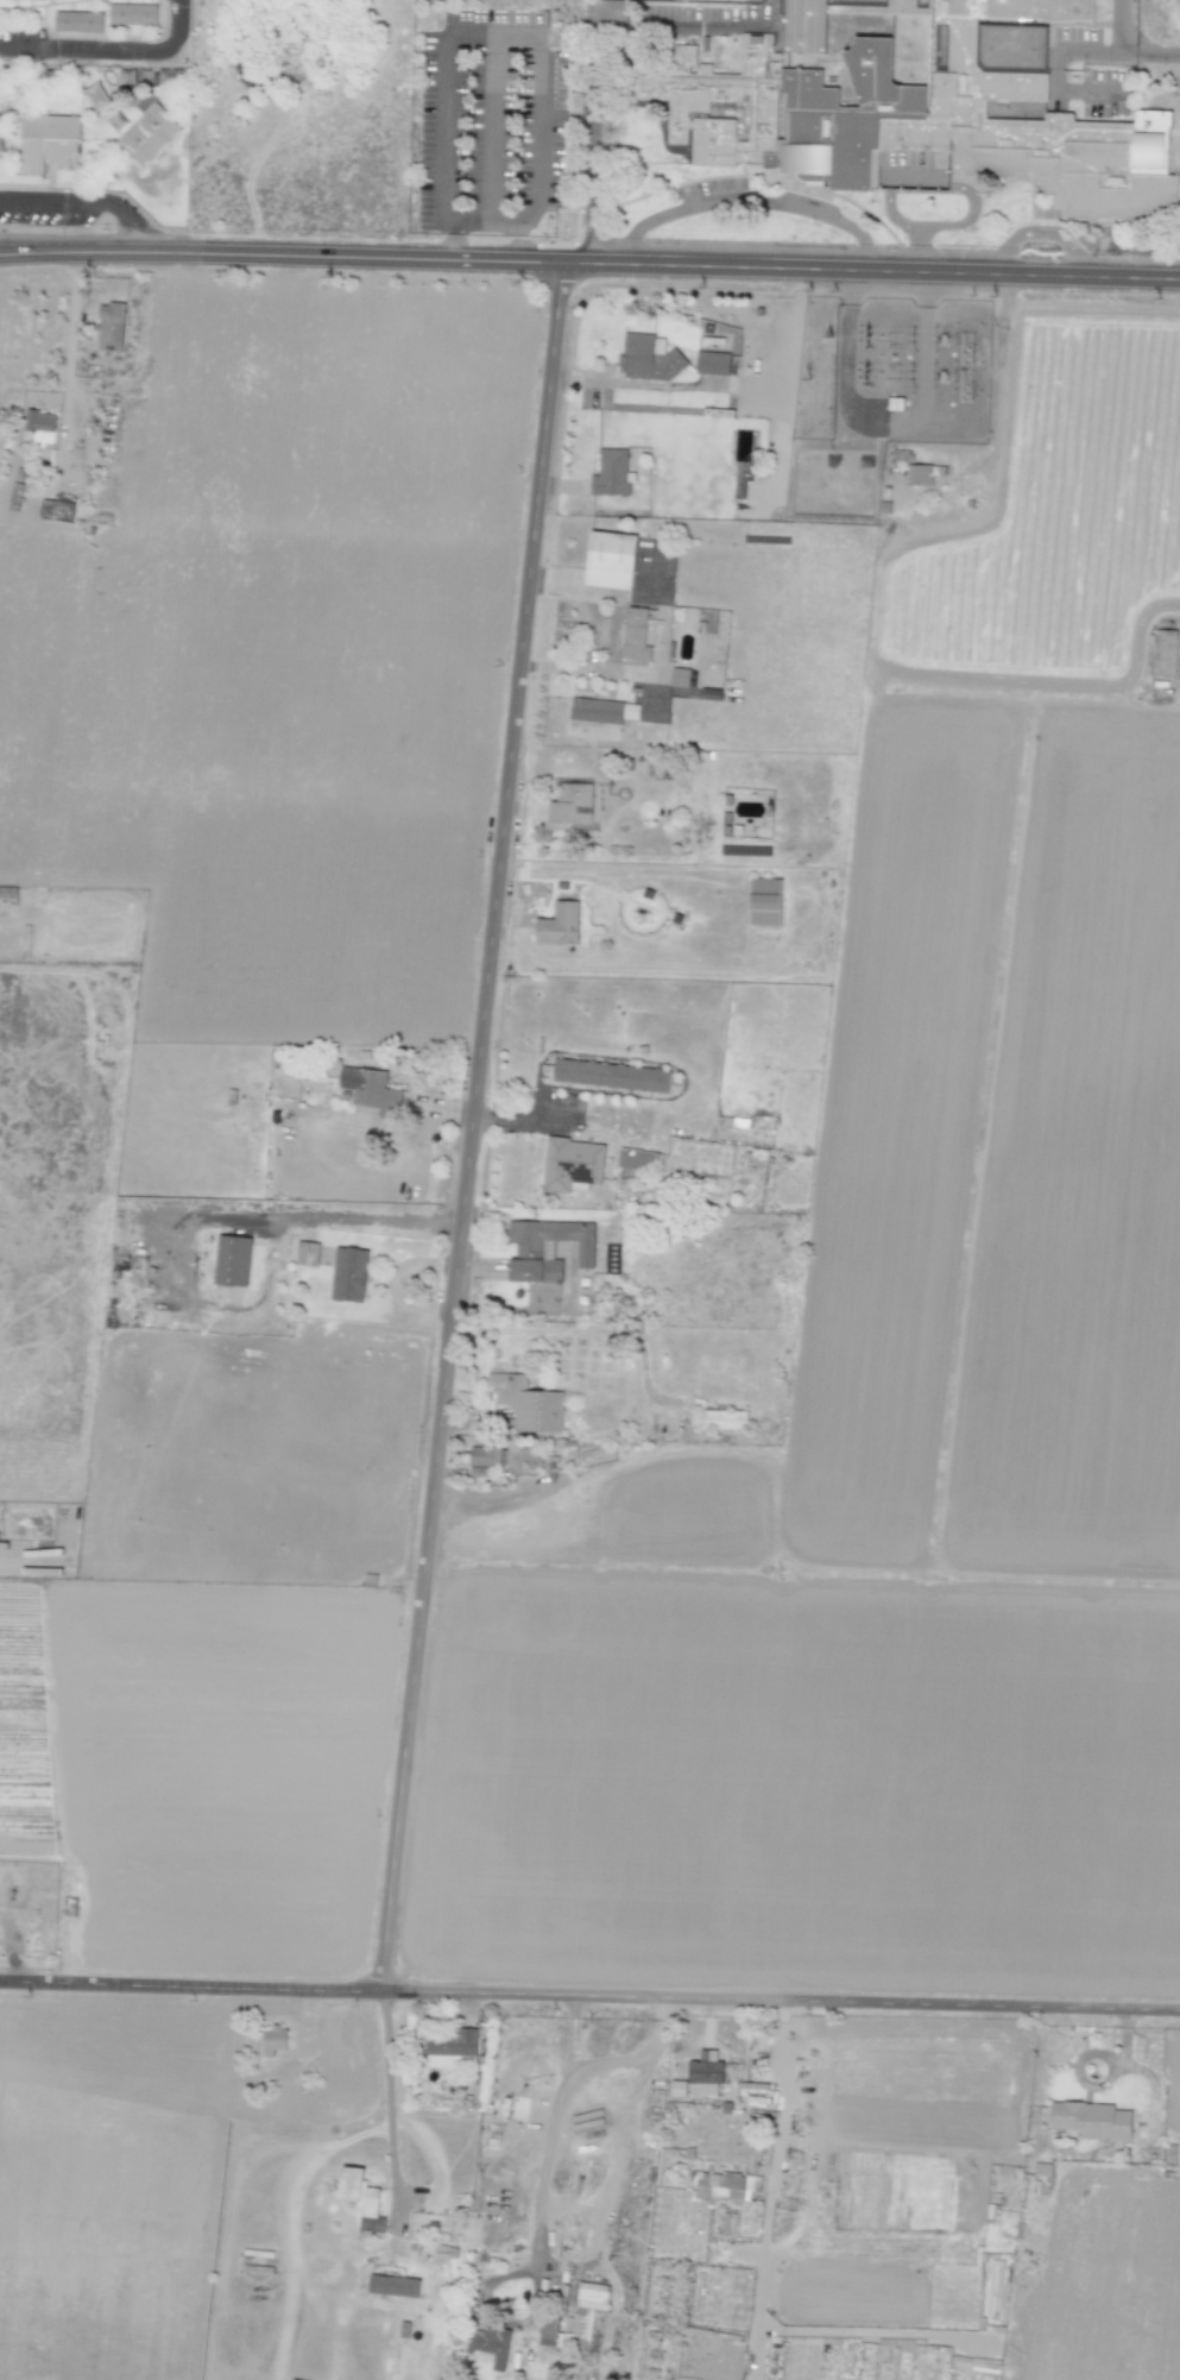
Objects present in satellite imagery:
building: (133, 14)
building: (78, 21)
road: (1117, 27)
road: (113, 50)
road: (1156, 50)
building: (935, 112)
building: (150, 134)
building: (49, 141)
road: (746, 201)
road: (84, 202)
road: (1037, 233)
road: (27, 247)
road: (27, 253)
road: (618, 264)
building: (111, 326)
road: (71, 339)
building: (649, 358)
building: (713, 363)
road: (715, 386)
building: (40, 426)
building: (611, 472)
building: (920, 474)
building: (56, 510)
building: (611, 559)
crop: (277, 617)
road: (593, 634)
building: (638, 635)
building: (1165, 653)
building: (597, 710)
building: (631, 711)
building: (572, 804)
building: (764, 901)
building: (560, 924)
building: (611, 1075)
building: (371, 1089)
road: (518, 1116)
road: (469, 1126)
building: (637, 1159)
building: (572, 1164)
road: (301, 1216)
building: (529, 1251)
building: (307, 1253)
building: (232, 1260)
building: (348, 1274)
building: (528, 1403)
building: (725, 1419)
building: (485, 1459)
road: (480, 1505)
road: (589, 1995)
building: (273, 2039)
building: (452, 2047)
building: (706, 2072)
building: (677, 2088)
road: (390, 2096)
building: (1092, 2120)
road: (781, 2128)
road: (551, 2133)
building: (752, 2155)
building: (724, 2185)
building: (358, 2191)
building: (371, 2223)
building: (393, 2285)
building: (587, 2309)
building: (548, 2331)
building: (488, 2344)

